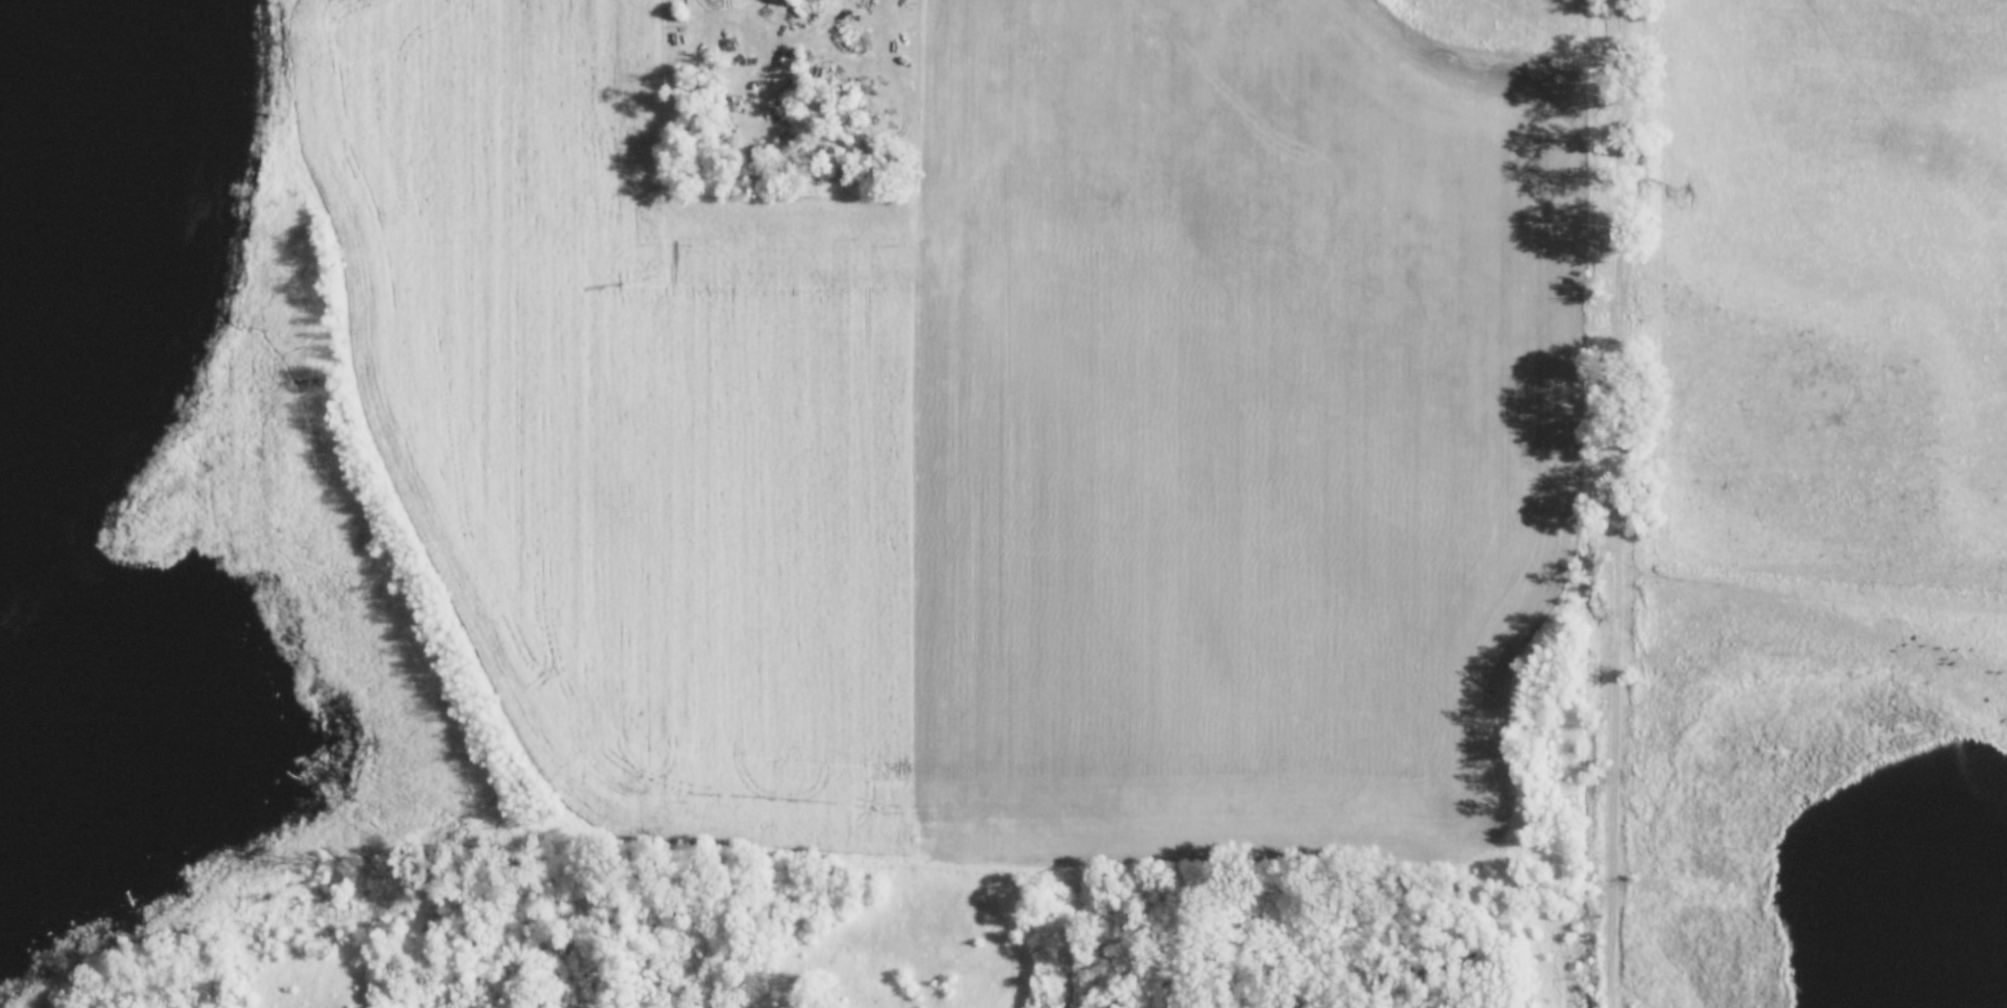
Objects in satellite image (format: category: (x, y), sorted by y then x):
road: (1615, 504)

